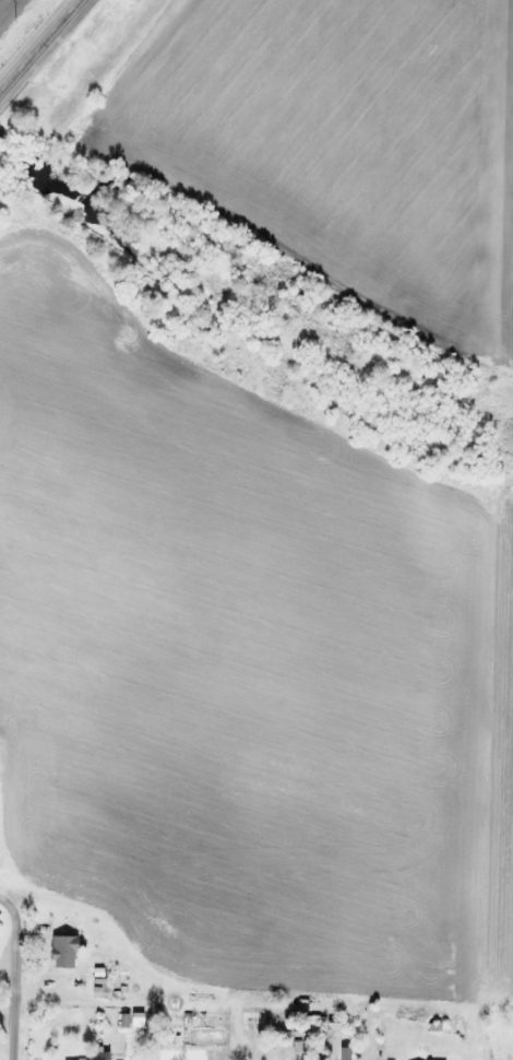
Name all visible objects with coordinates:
road: (40, 47)
railway: (84, 101)
road: (1, 900)
building: (61, 952)
road: (12, 979)
building: (95, 1056)

